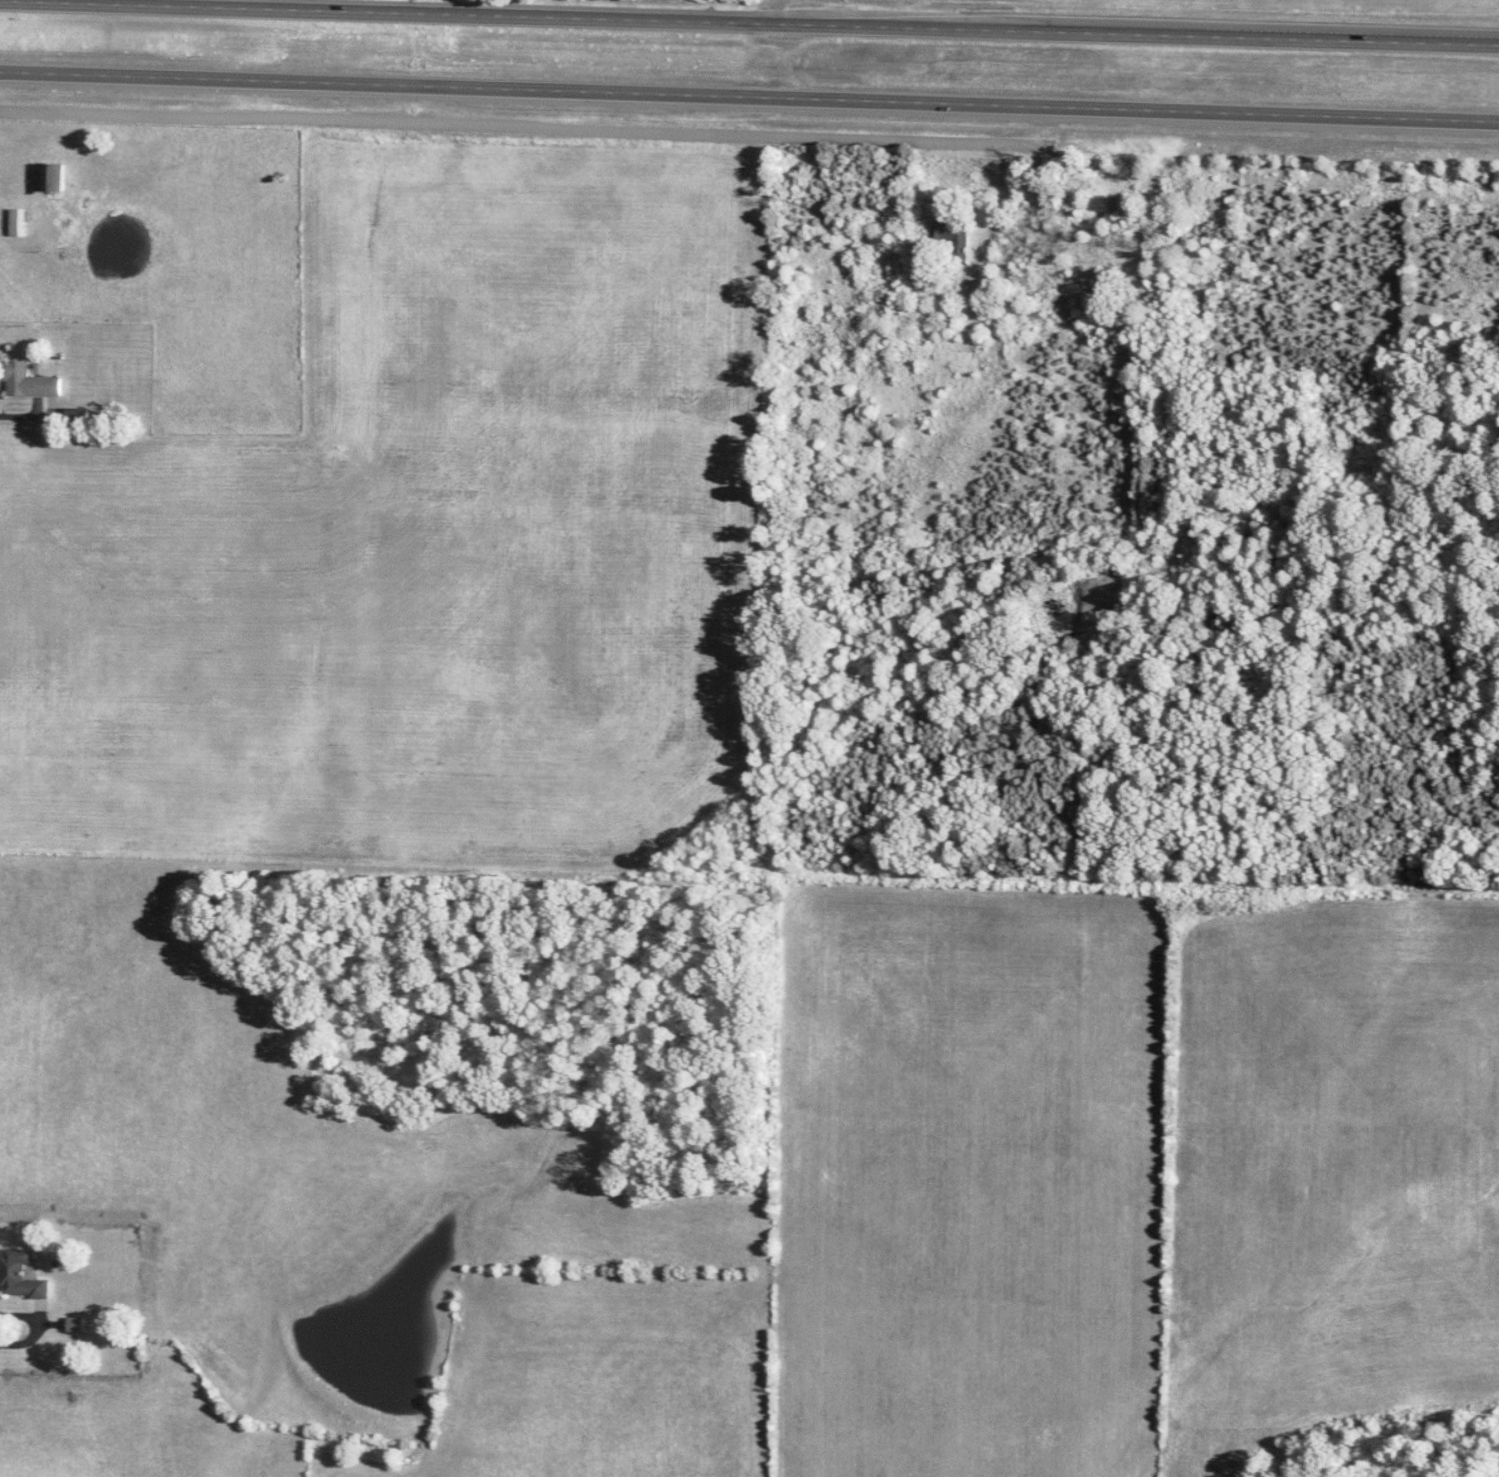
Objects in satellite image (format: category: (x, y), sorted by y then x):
road: (749, 25)
road: (749, 98)
building: (50, 176)
building: (1128, 208)
building: (16, 221)
building: (956, 237)
building: (28, 380)
road: (24, 415)
building: (23, 1275)
building: (78, 1324)

